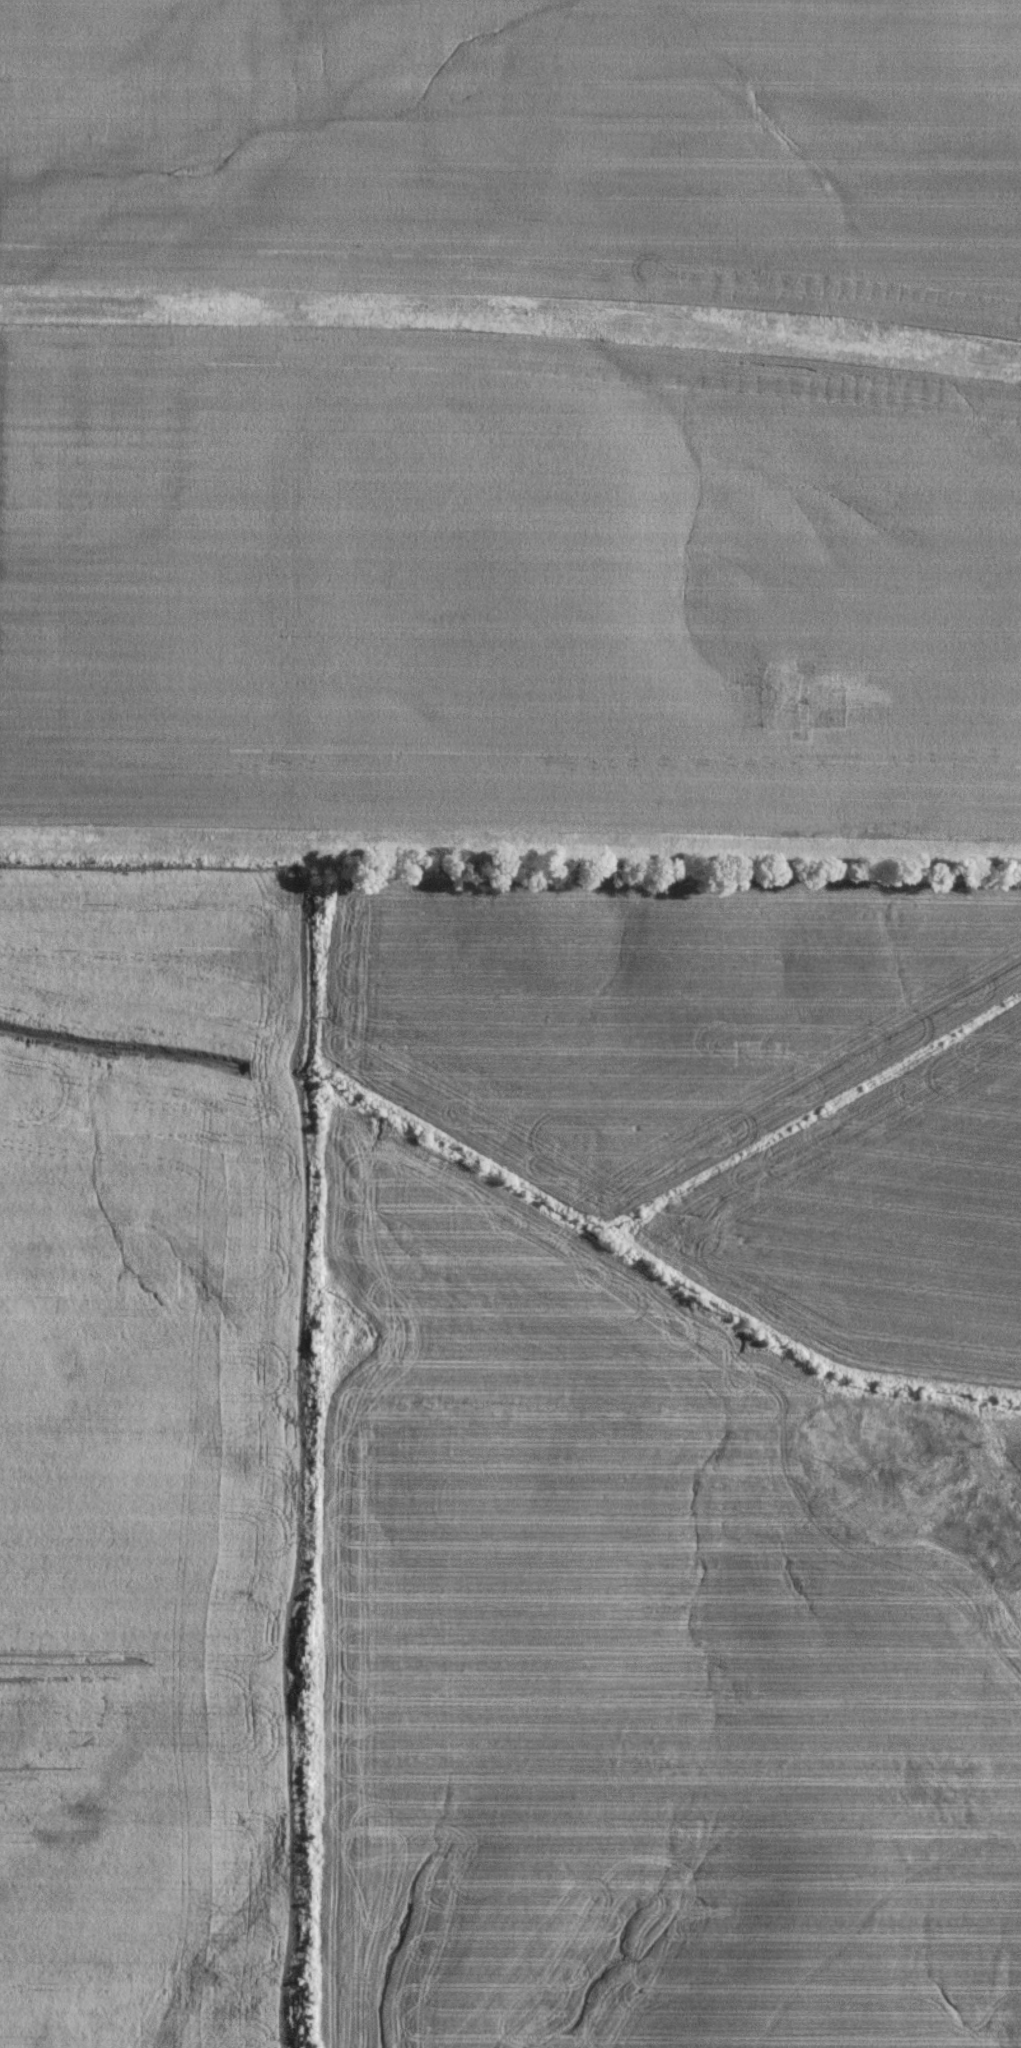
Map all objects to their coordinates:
building: (951, 1790)

